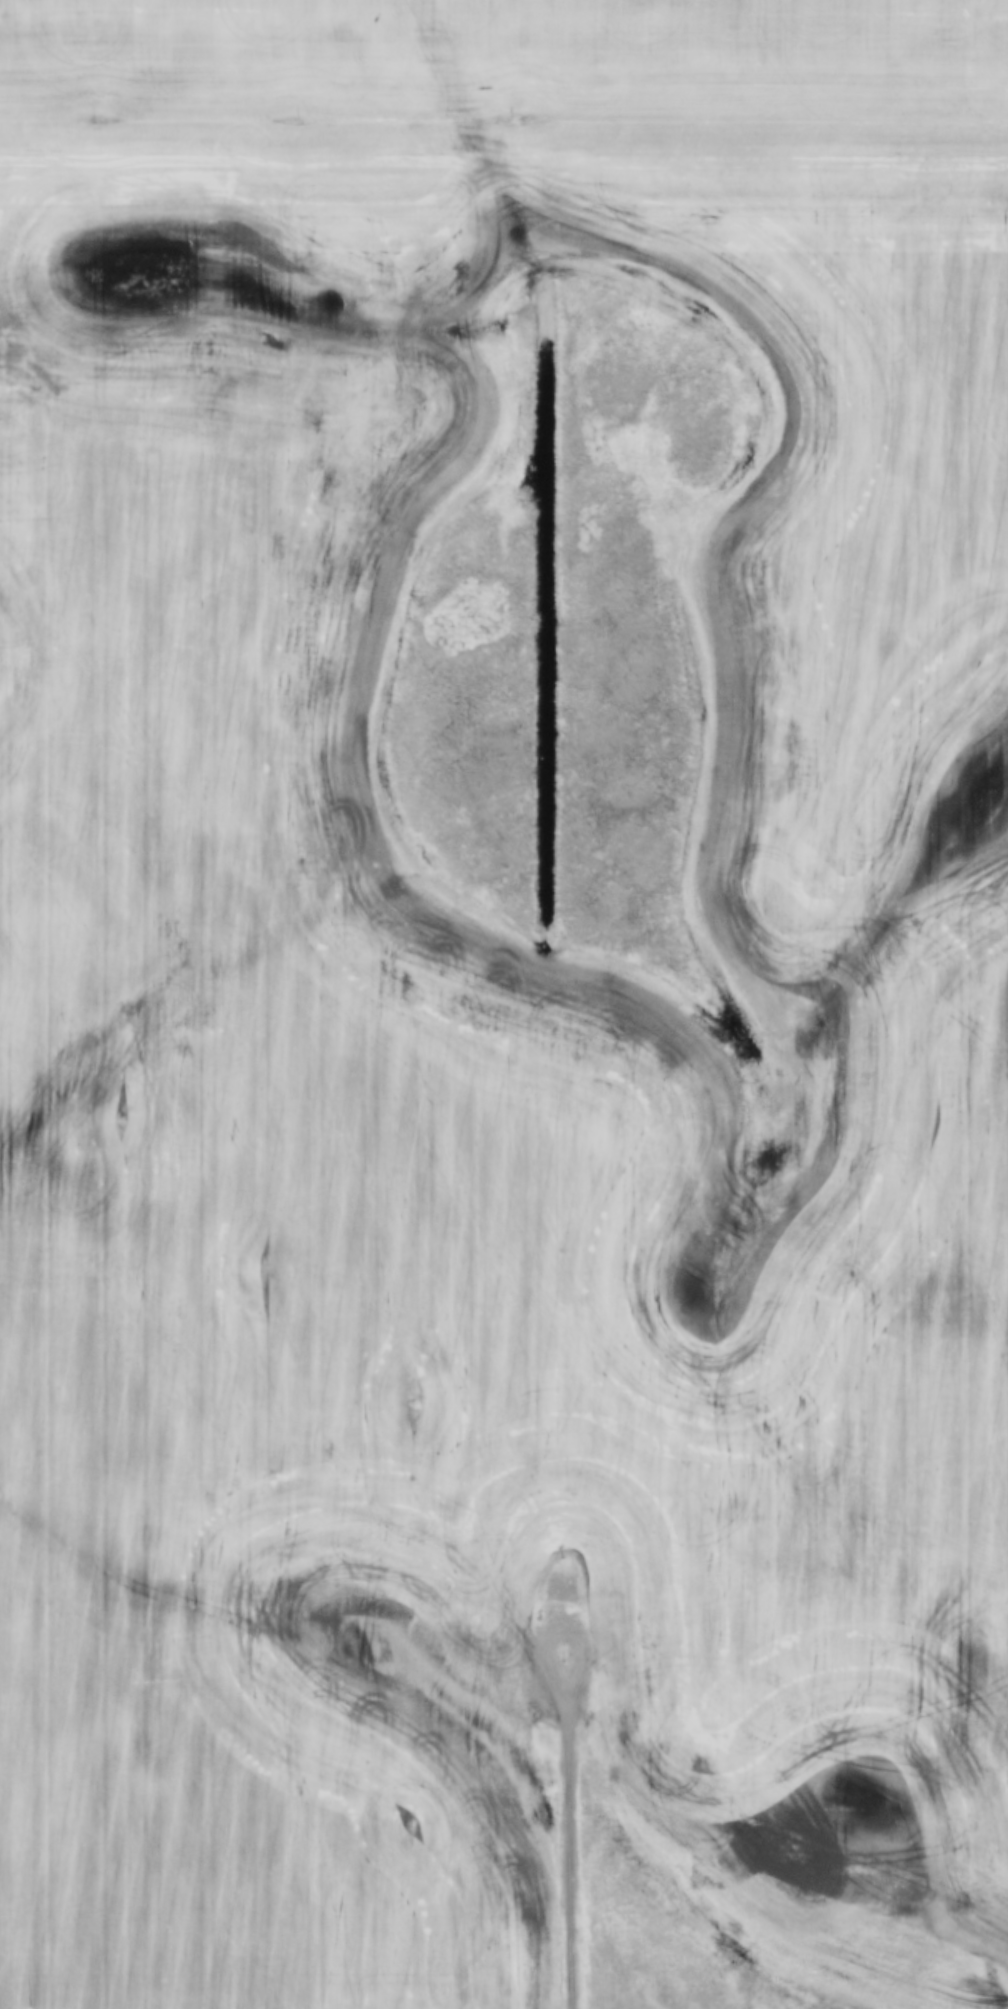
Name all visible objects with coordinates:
road: (570, 1829)

